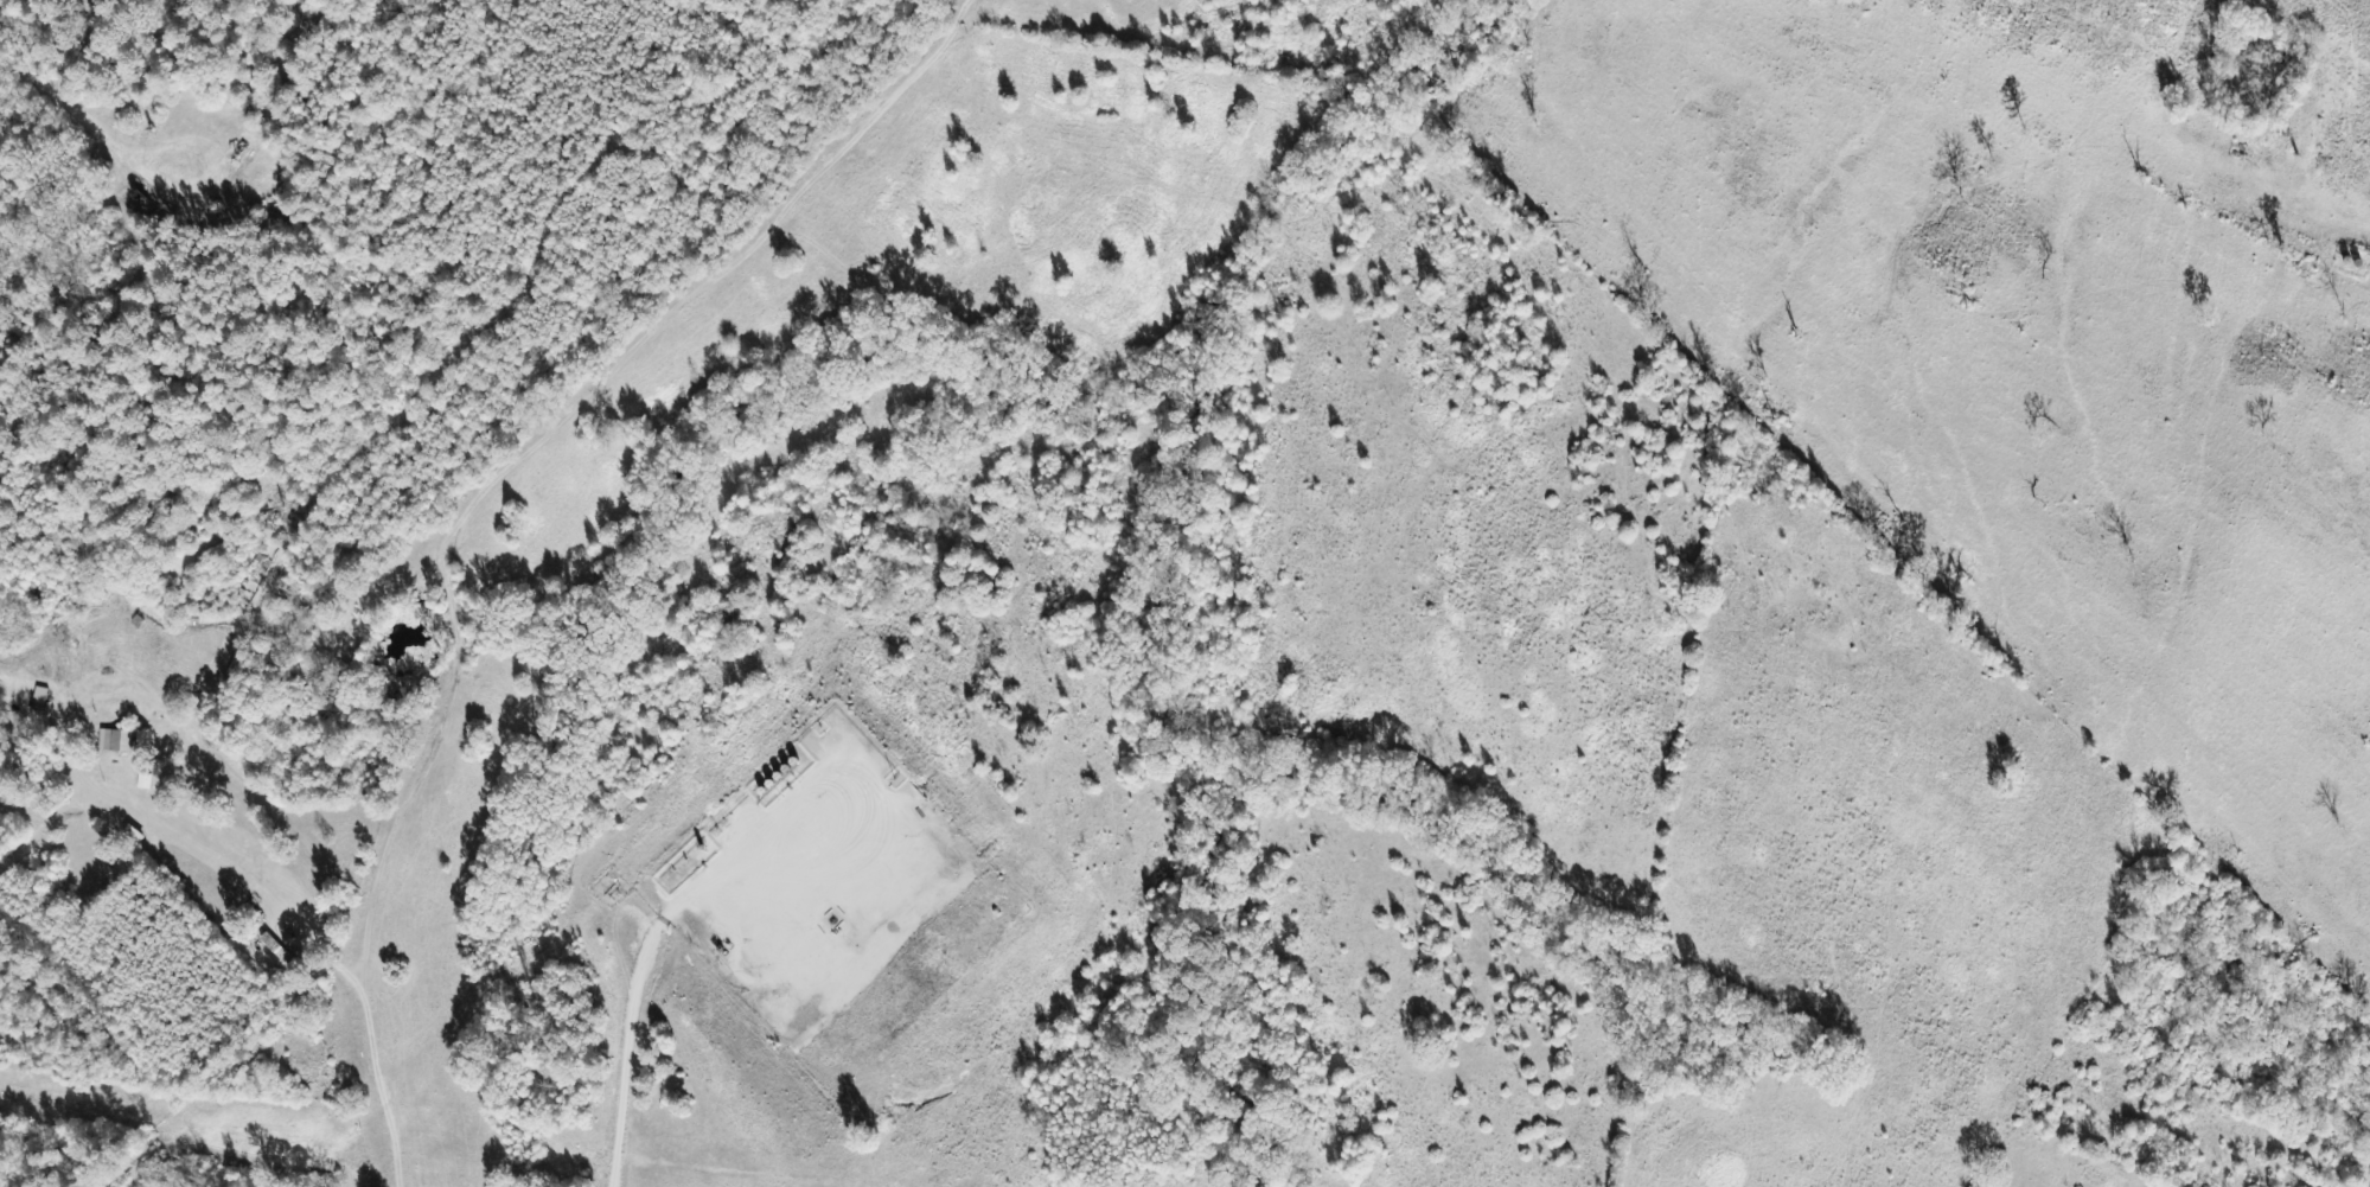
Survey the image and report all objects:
road: (2351, 200)
building: (114, 740)
road: (298, 949)

